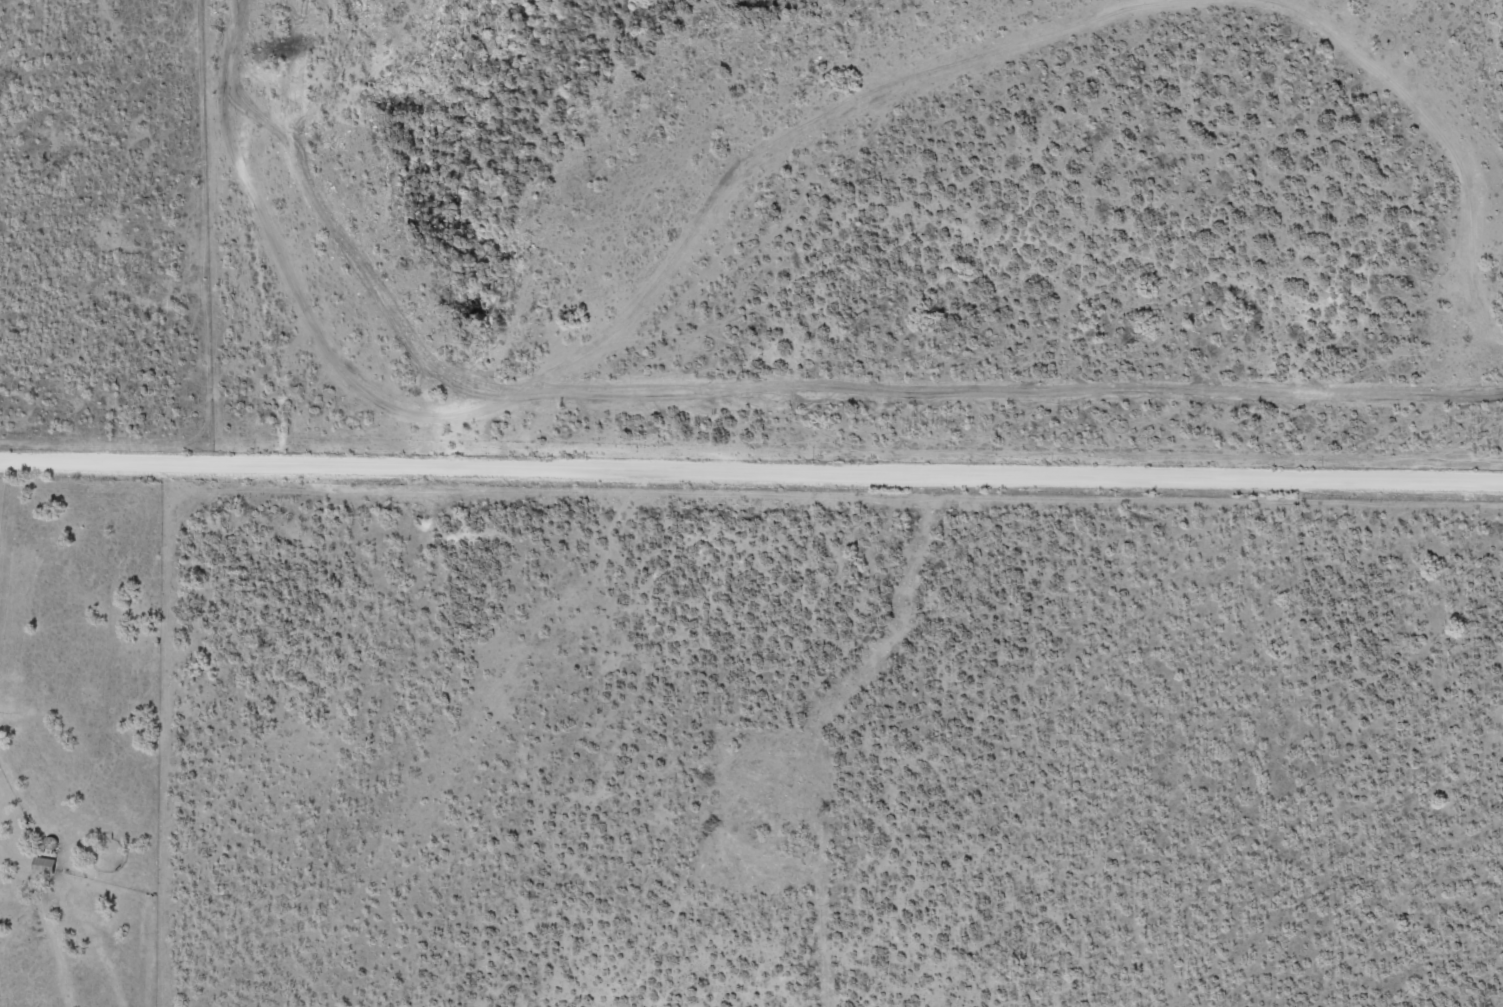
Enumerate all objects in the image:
road: (751, 470)

